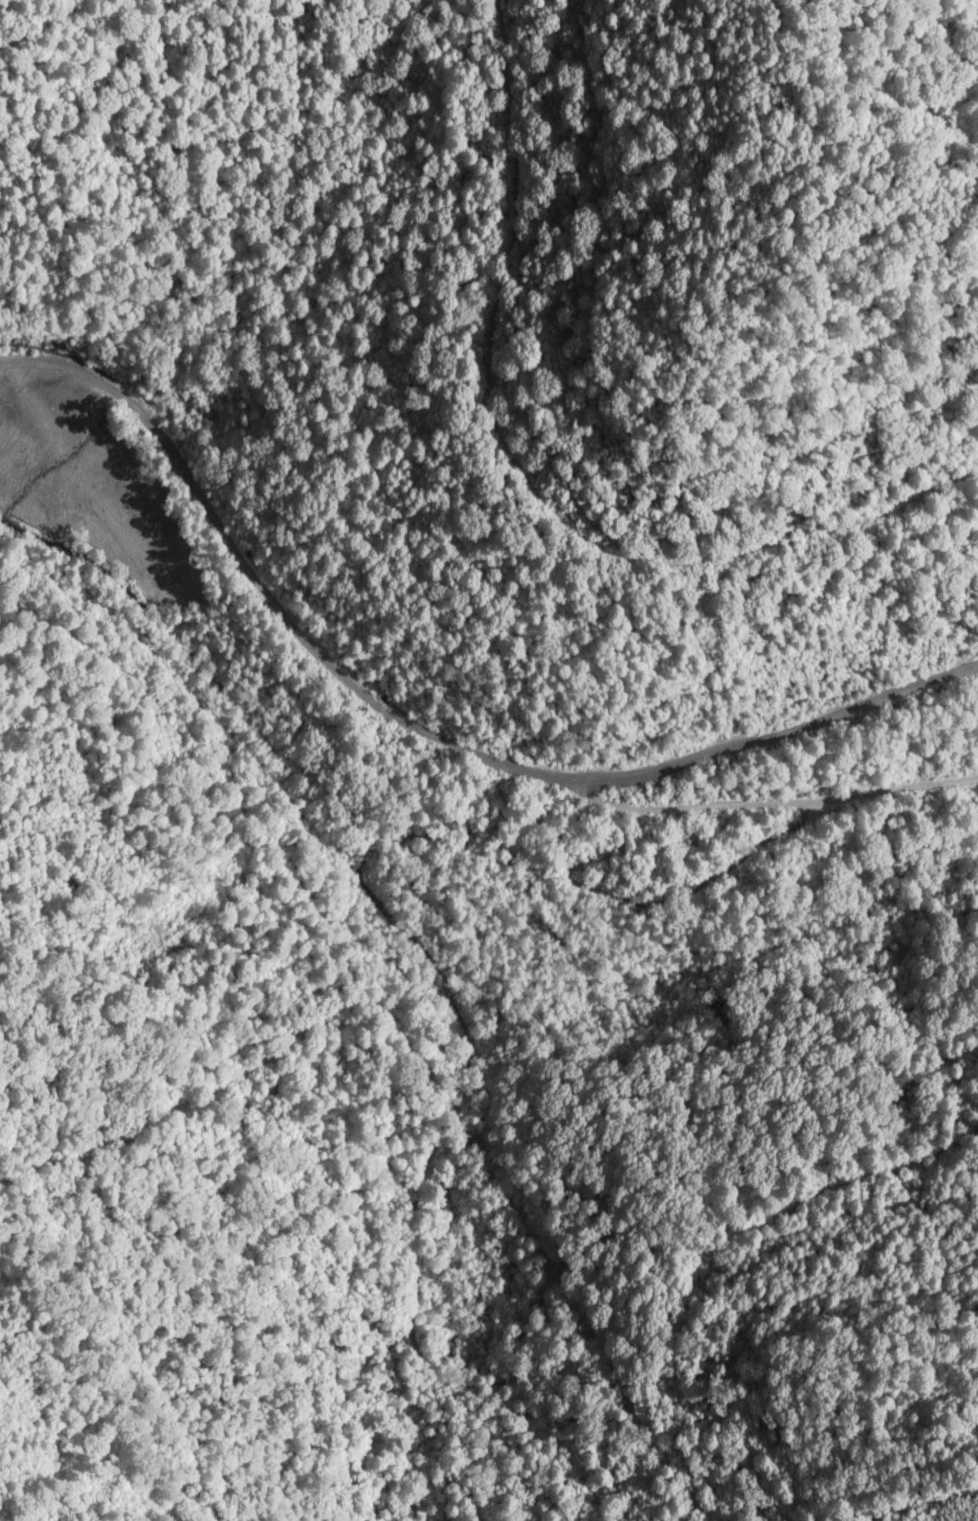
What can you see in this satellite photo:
road: (437, 684)
road: (678, 874)

